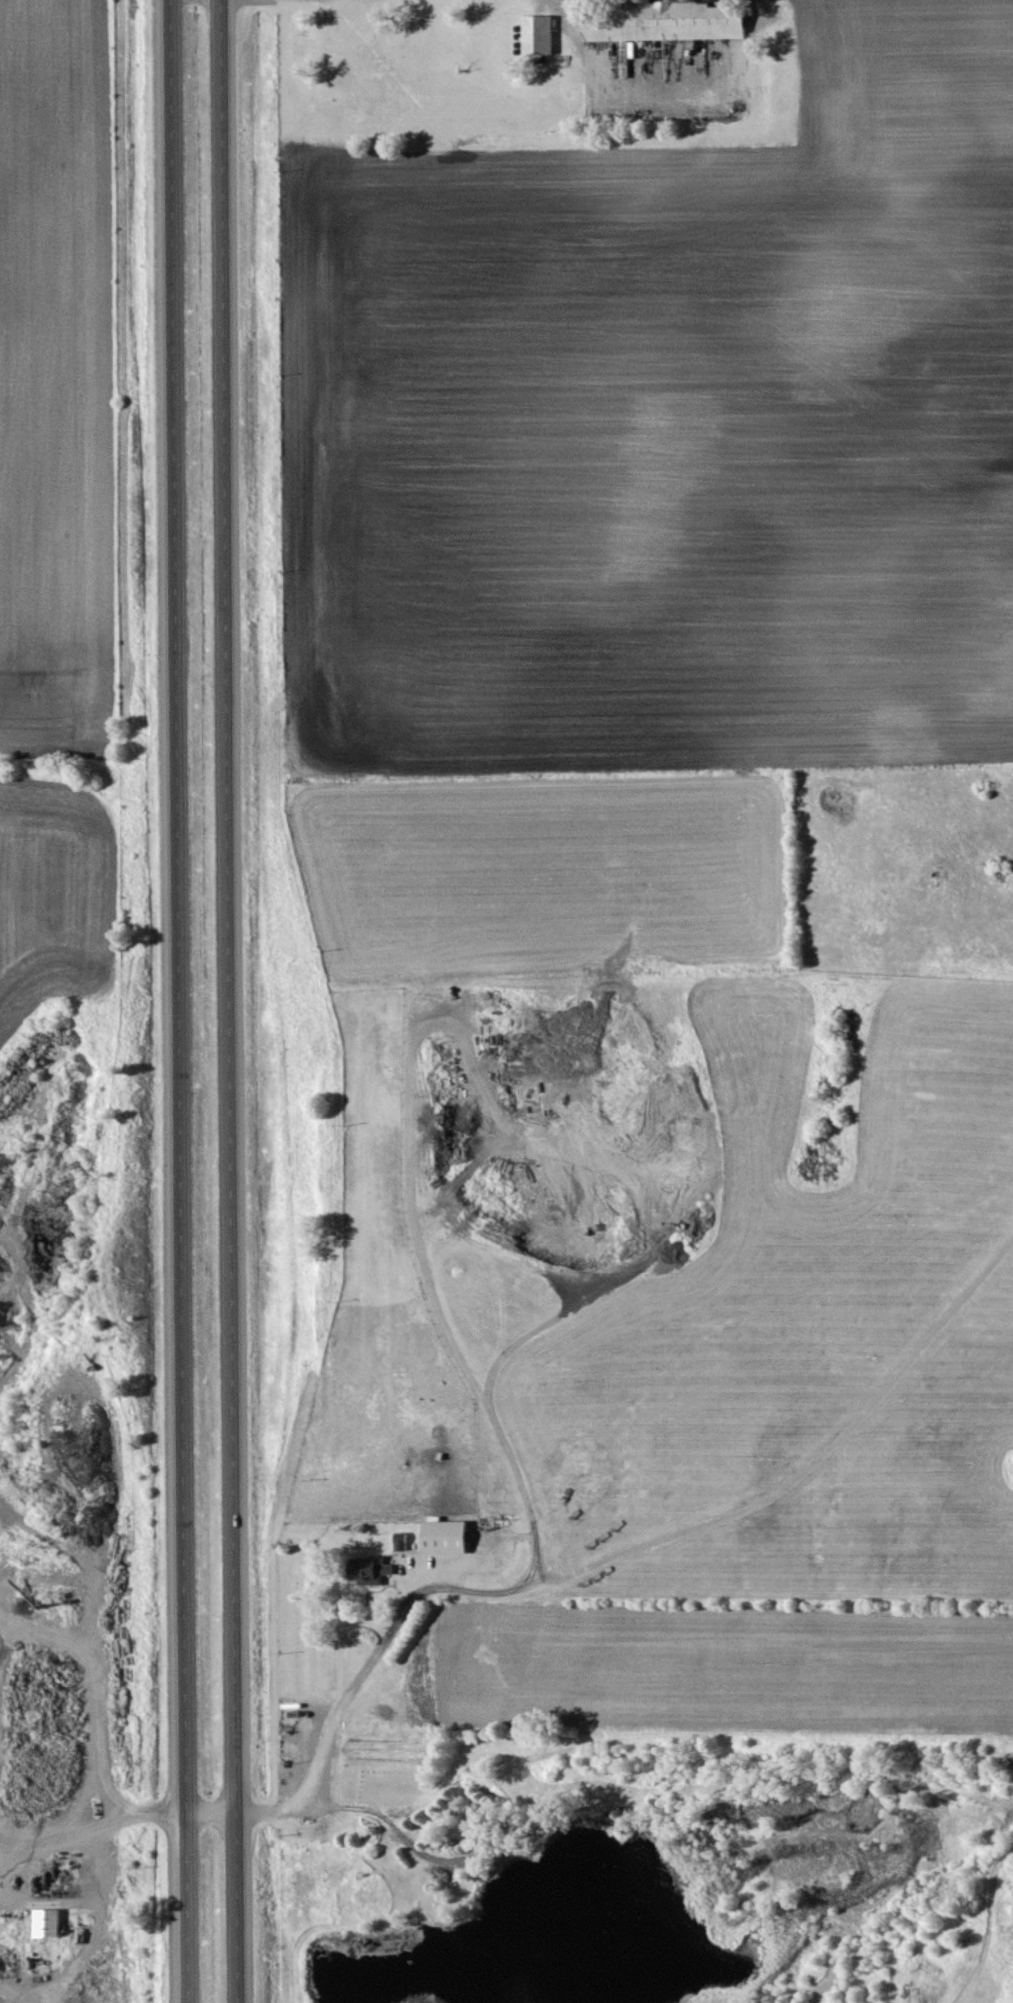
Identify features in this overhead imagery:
building: (542, 35)
road: (182, 1001)
road: (234, 1001)
building: (448, 1538)
building: (403, 1542)
building: (372, 1571)
road: (403, 1609)
building: (51, 1924)

